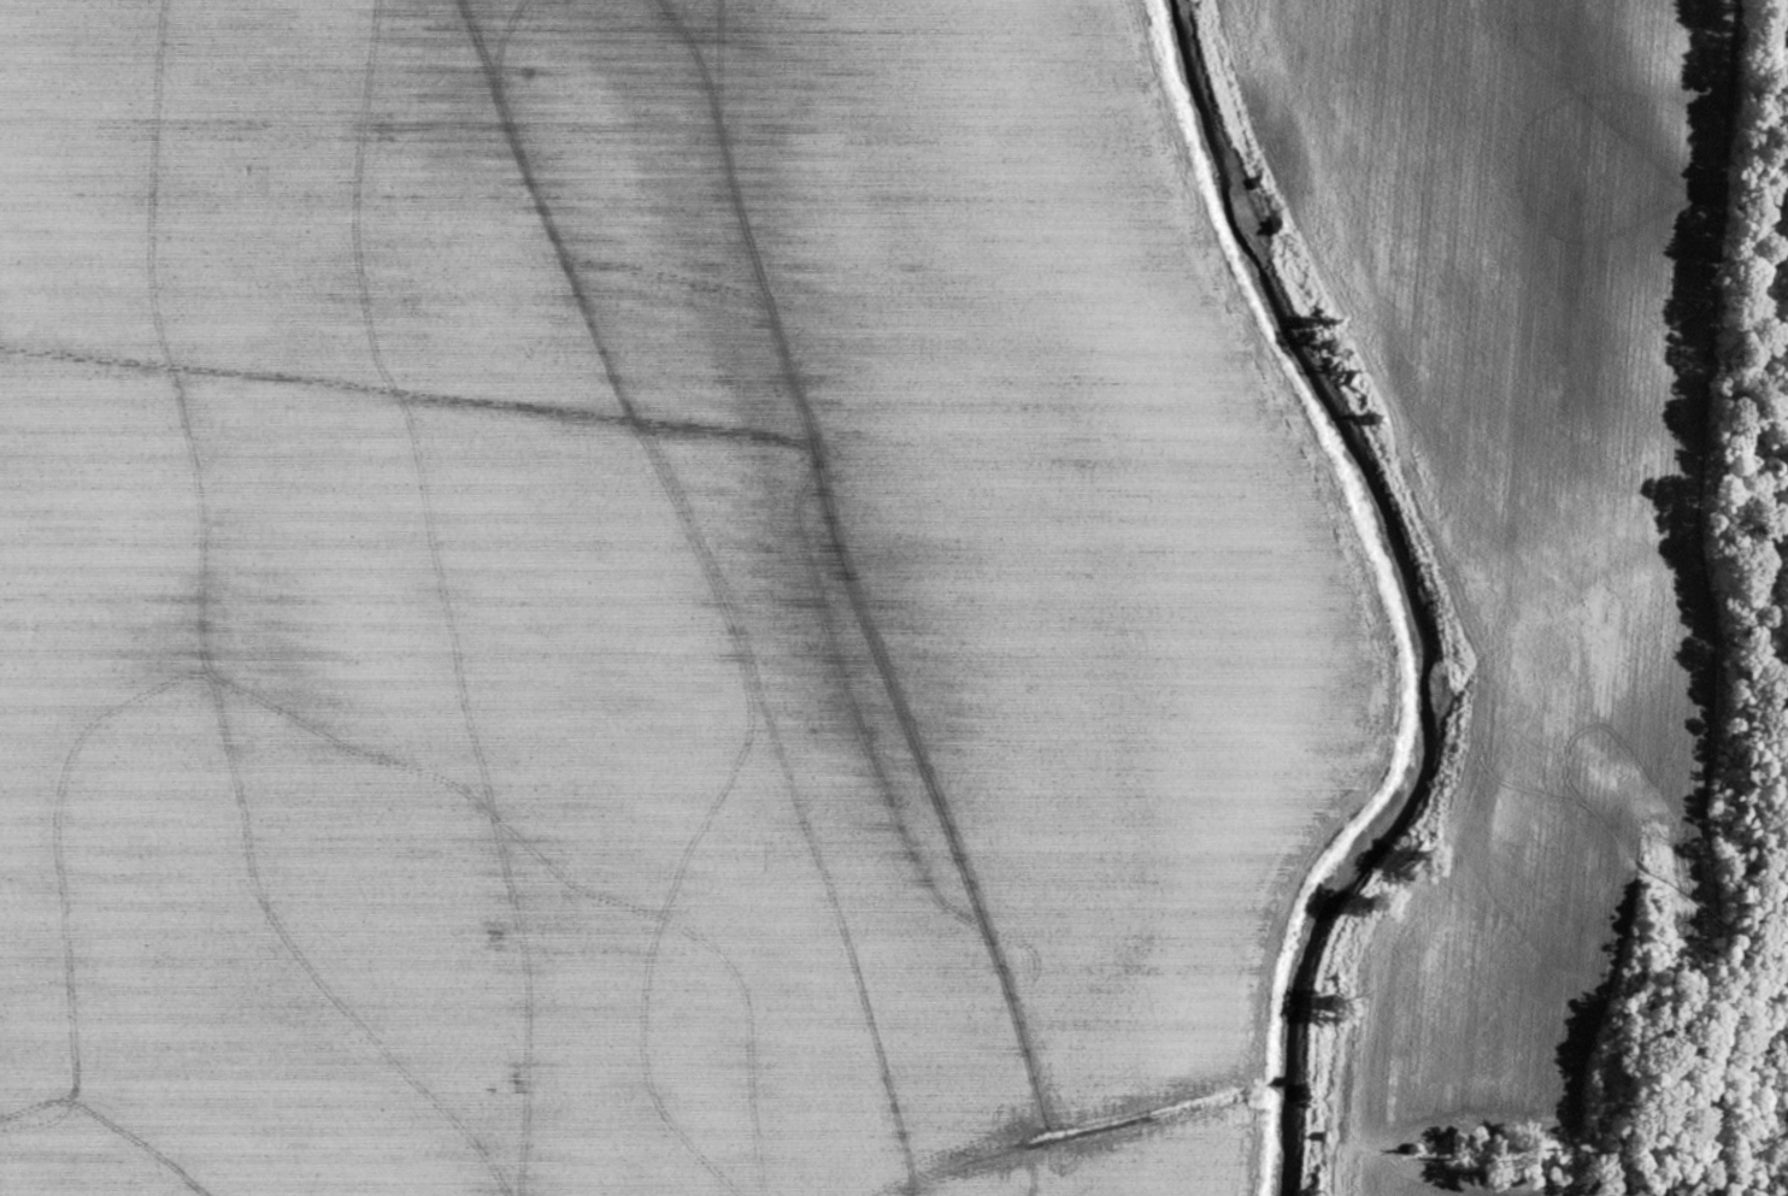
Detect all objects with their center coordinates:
road: (1464, 594)

